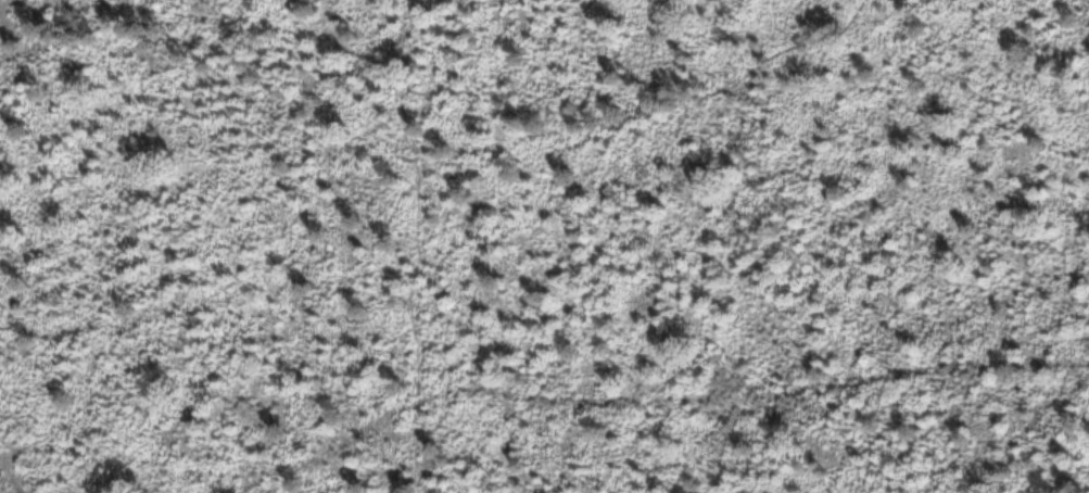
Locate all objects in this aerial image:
road: (444, 97)

